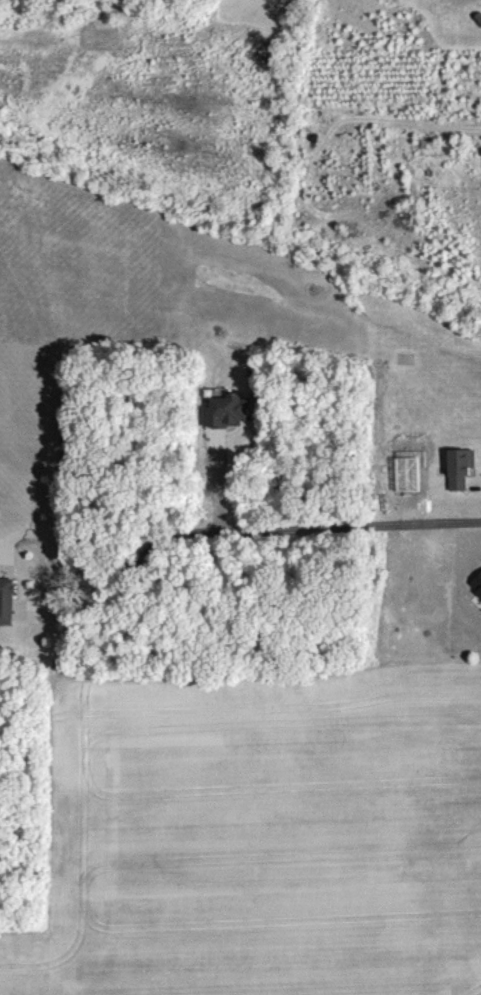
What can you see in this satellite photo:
building: (480, 6)
building: (228, 423)
building: (460, 480)
road: (240, 529)
building: (6, 613)

